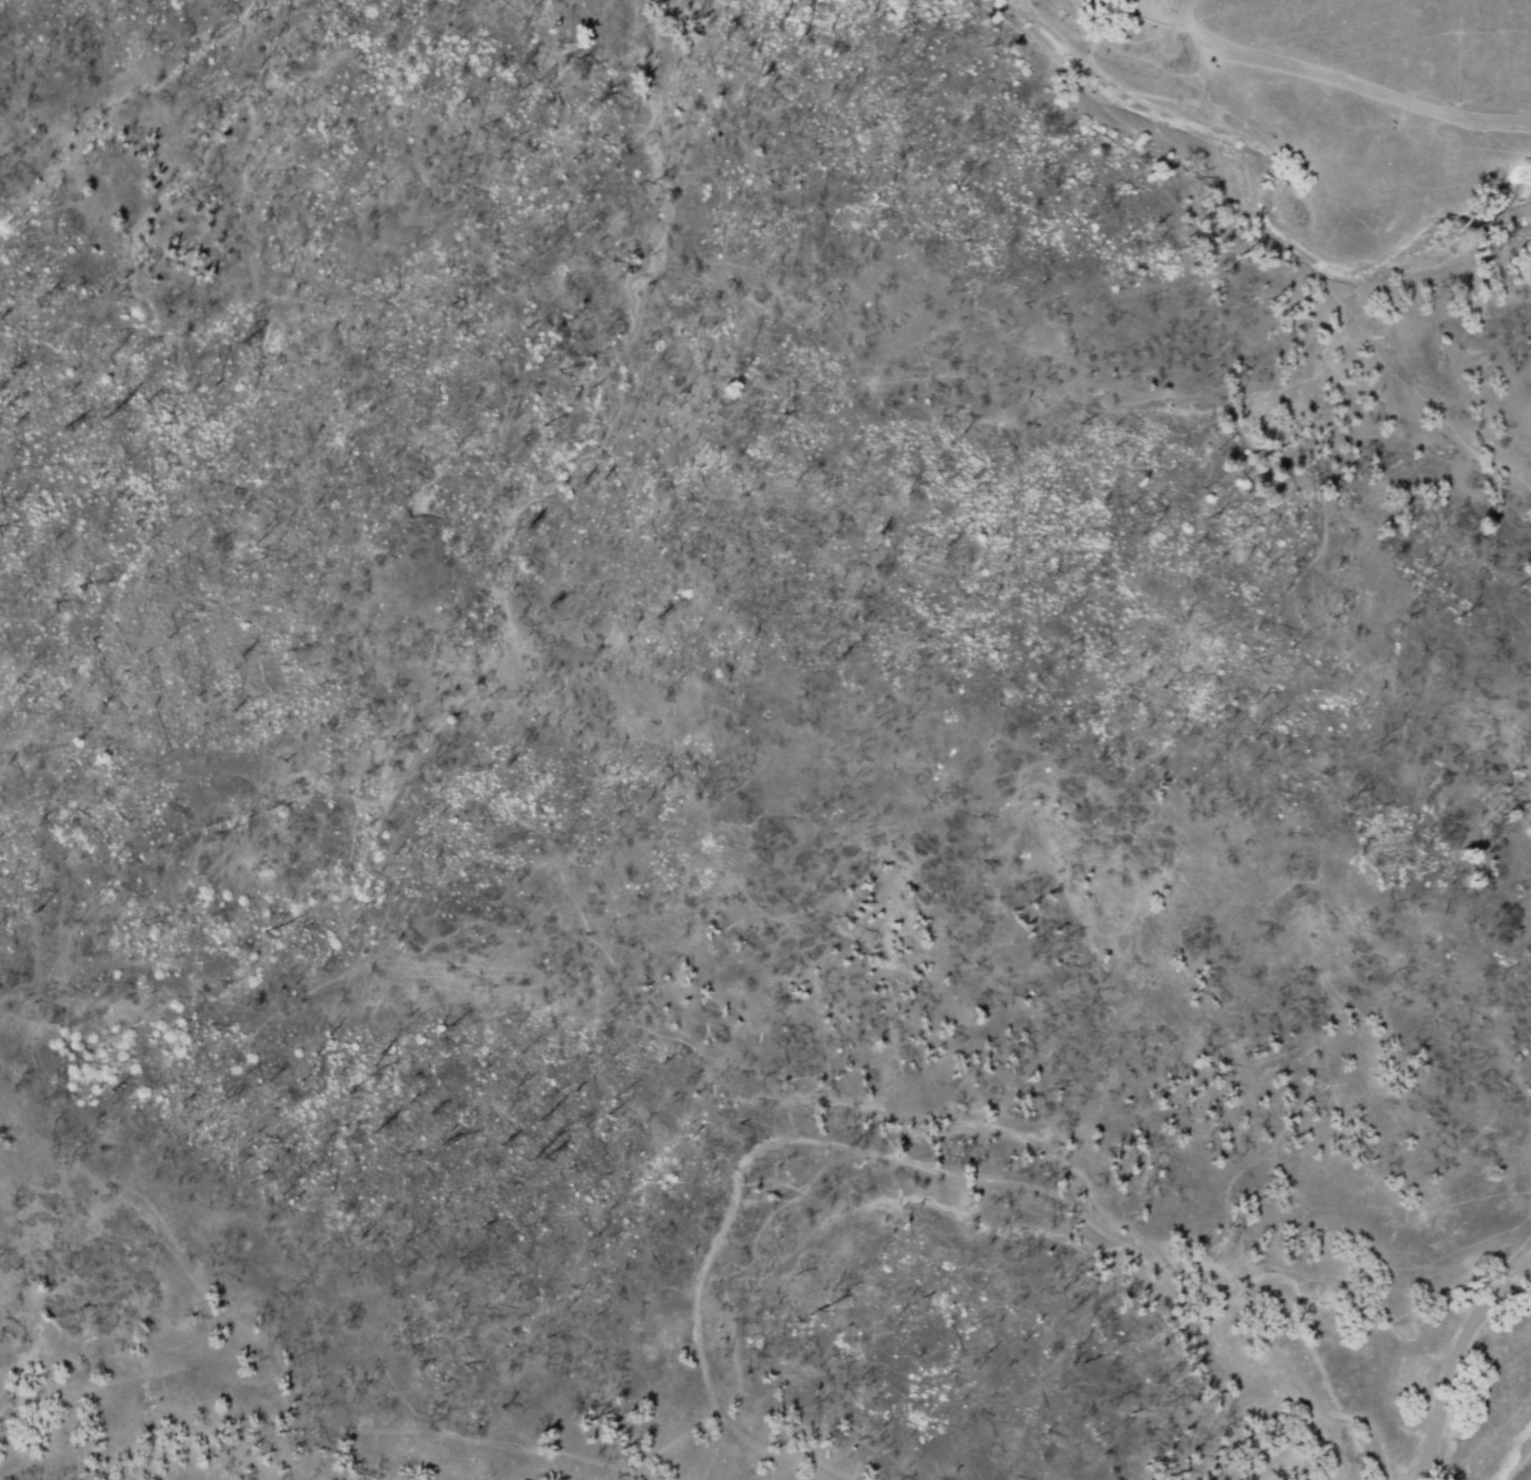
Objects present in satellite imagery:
road: (1334, 78)
road: (1455, 1359)

